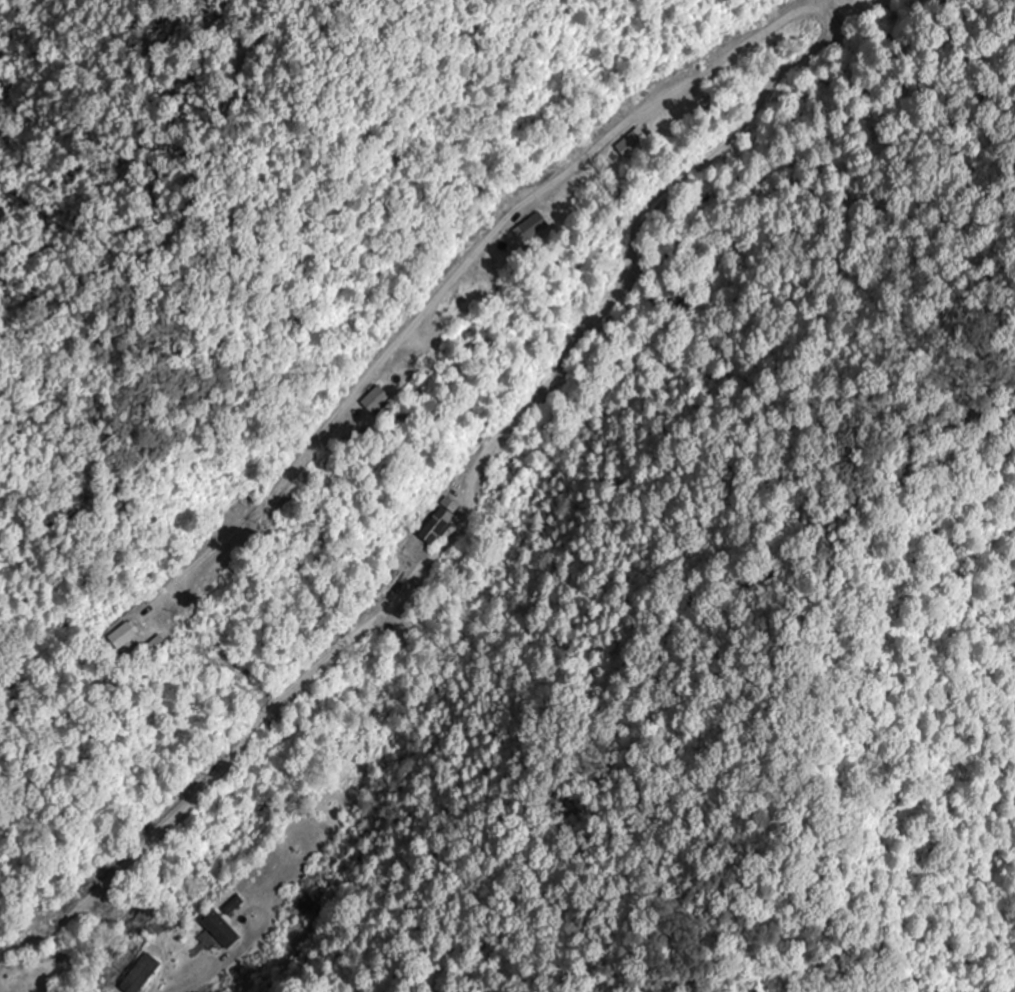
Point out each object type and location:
building: (631, 144)
building: (533, 224)
building: (375, 399)
building: (436, 525)
building: (389, 586)
building: (175, 597)
building: (122, 635)
building: (234, 906)
building: (219, 930)
building: (141, 974)
building: (19, 981)

